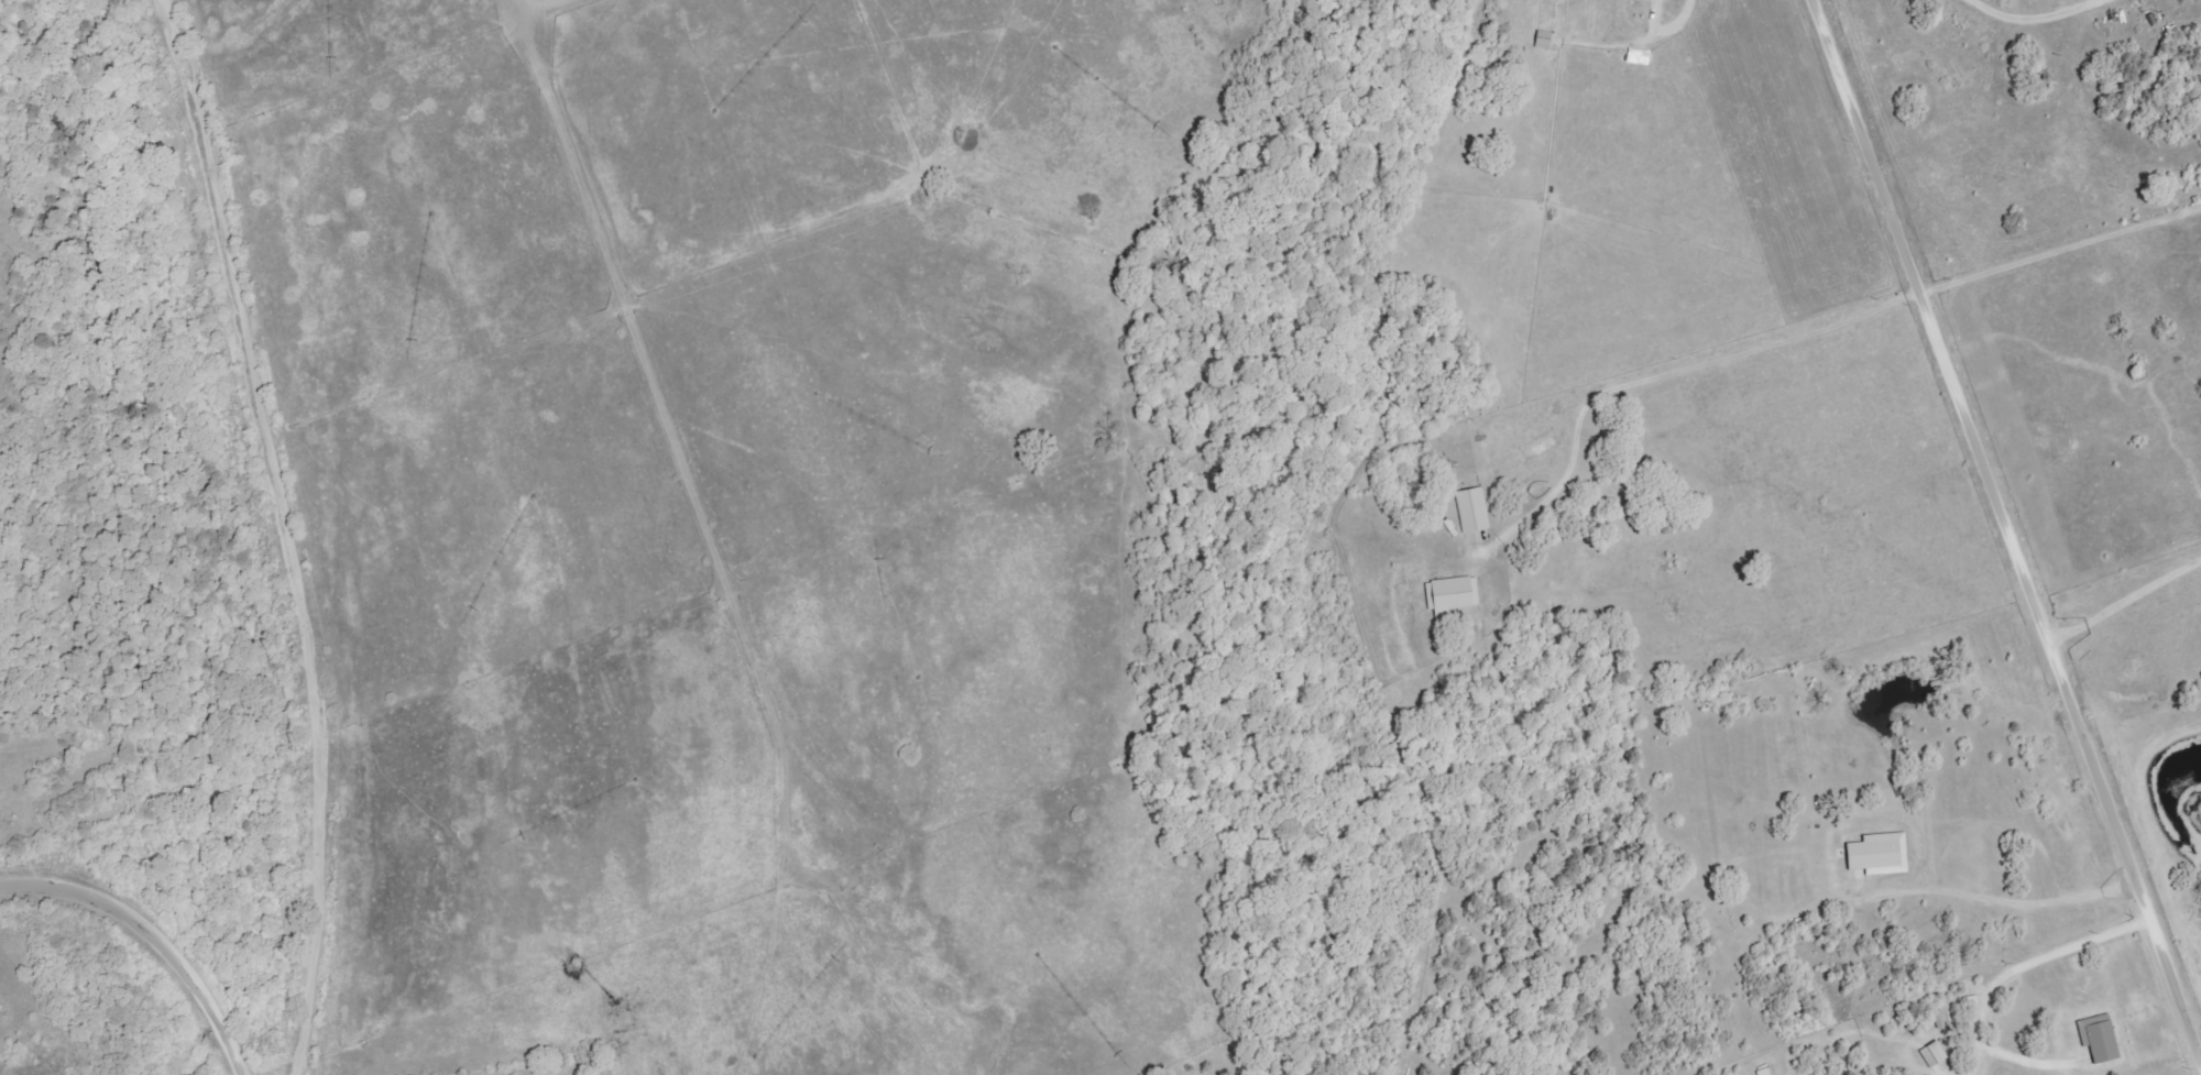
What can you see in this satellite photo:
road: (2034, 18)
road: (1680, 22)
building: (1640, 57)
road: (2060, 252)
road: (1673, 373)
building: (1474, 511)
road: (2006, 531)
road: (281, 533)
building: (1455, 593)
building: (1881, 854)
road: (150, 937)
building: (2101, 1038)
building: (1935, 1054)

